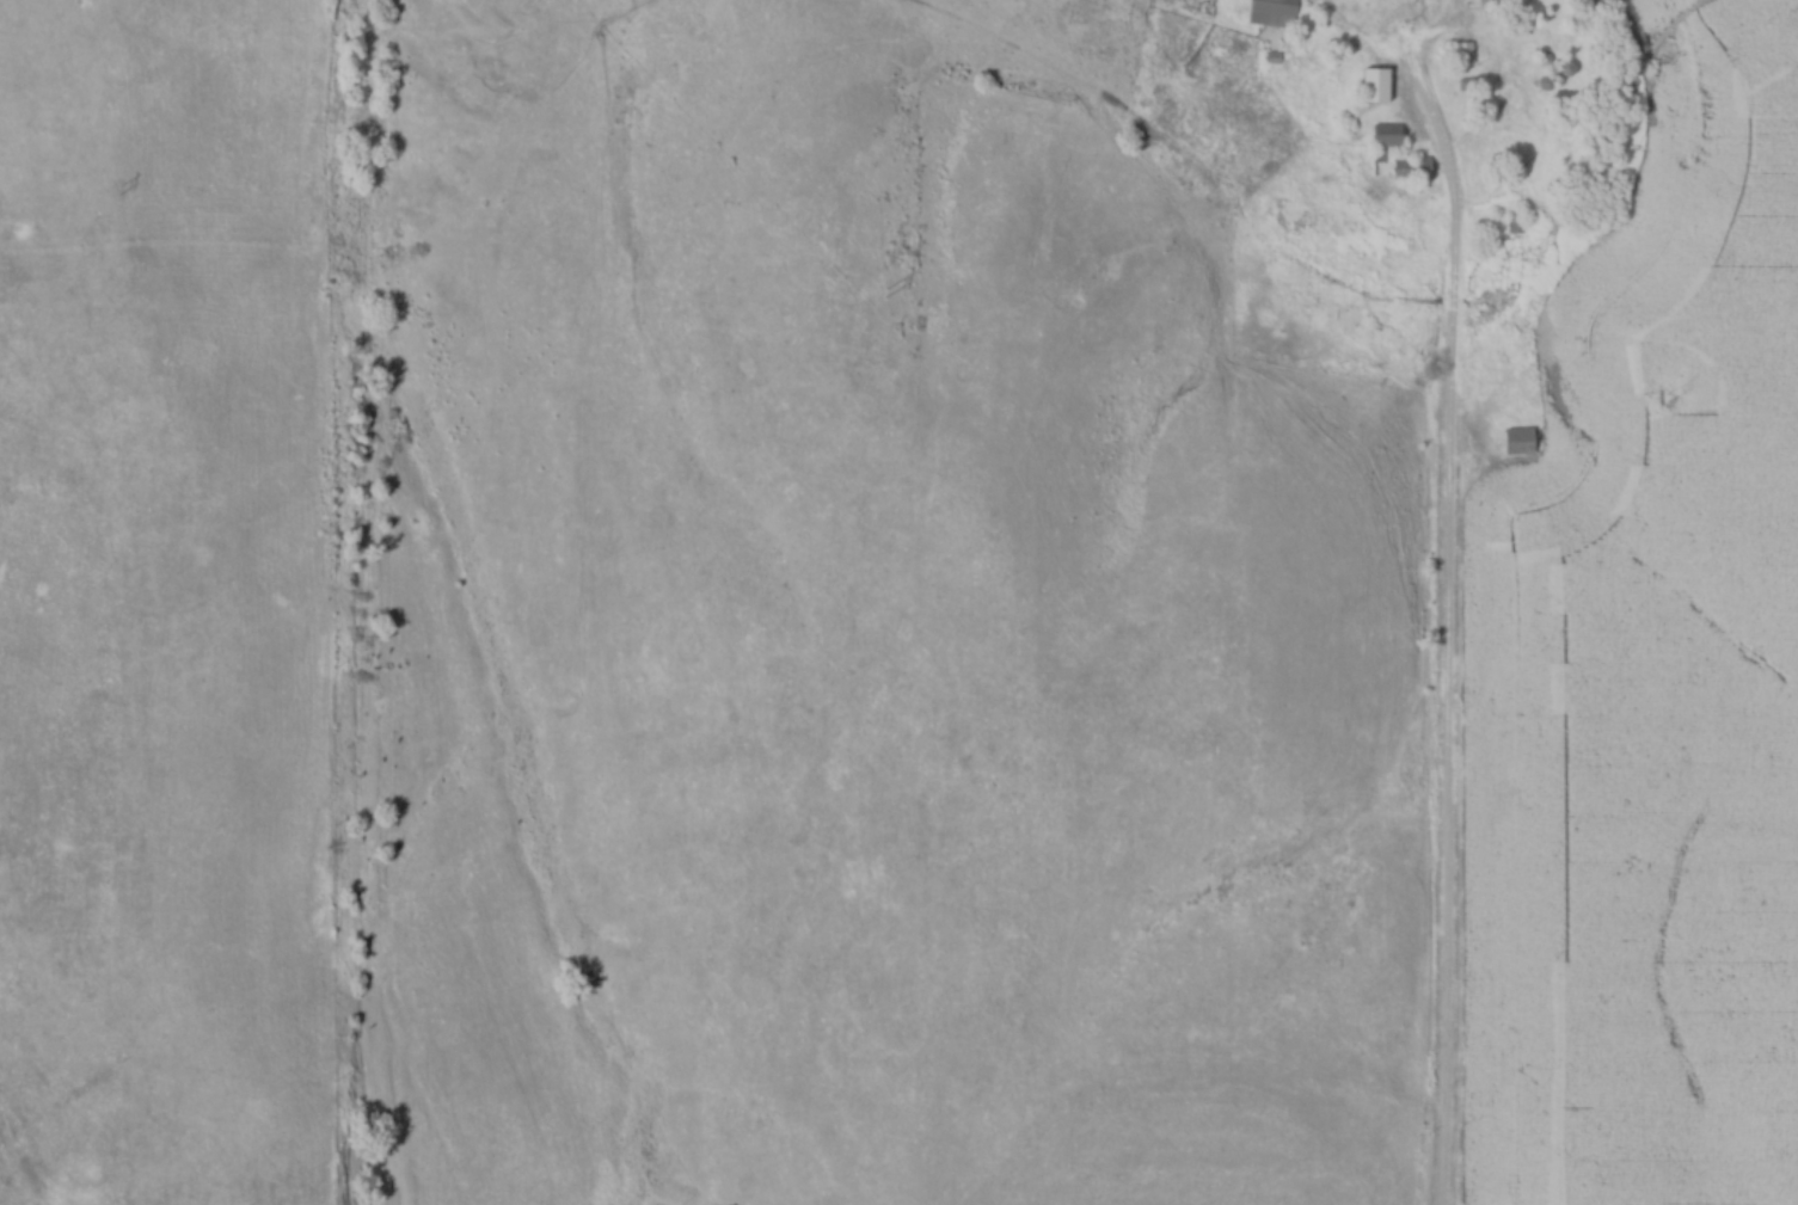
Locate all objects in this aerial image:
building: (1505, 0)
building: (1278, 13)
building: (1377, 82)
road: (1517, 88)
building: (1391, 133)
building: (1415, 167)
building: (1515, 220)
building: (1520, 439)
road: (1449, 708)
crop: (1636, 724)

